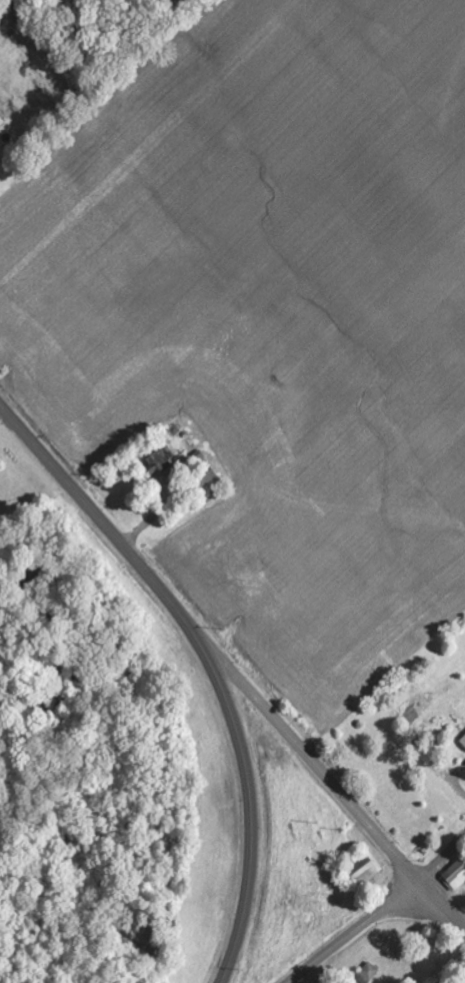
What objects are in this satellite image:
building: (2, 123)
building: (167, 466)
road: (90, 508)
building: (463, 741)
road: (321, 771)
road: (249, 793)
building: (456, 877)
road: (379, 912)
building: (371, 973)

